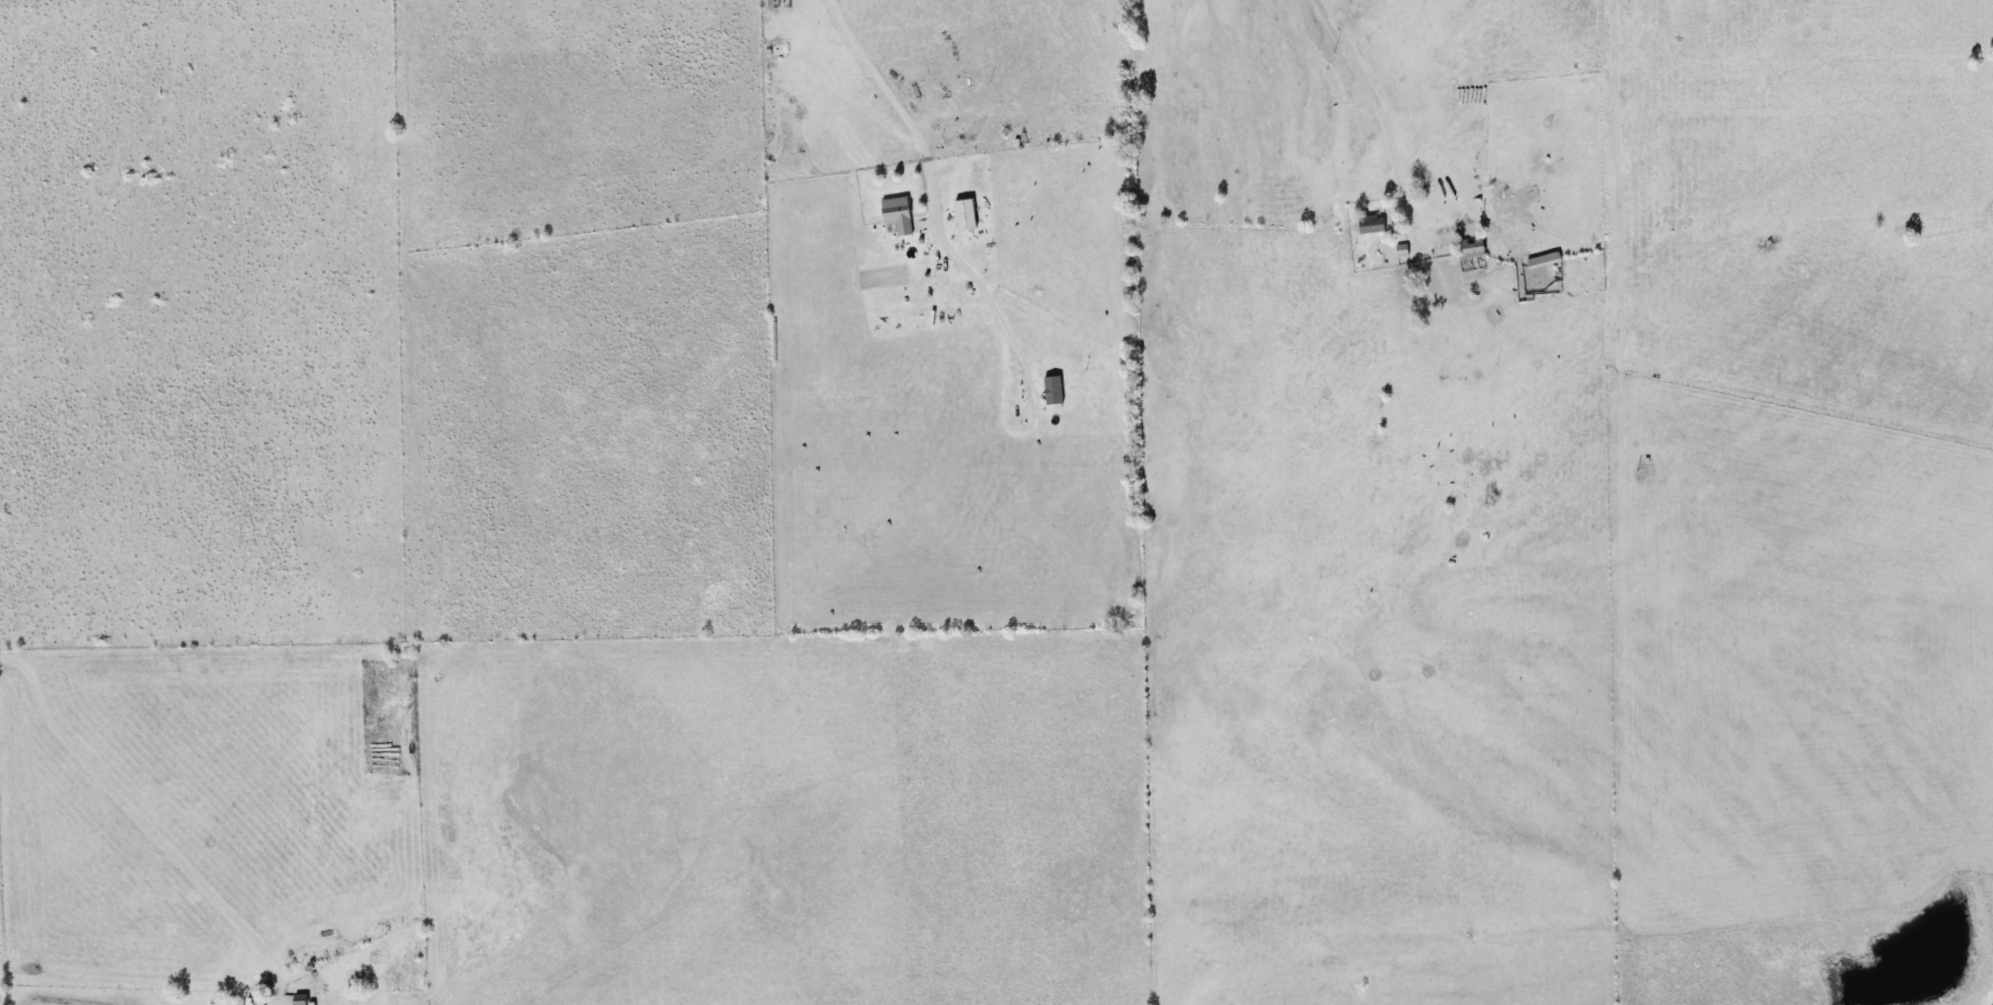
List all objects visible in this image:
road: (870, 76)
building: (900, 215)
building: (968, 215)
building: (1374, 224)
road: (1599, 258)
building: (1546, 261)
road: (132, 811)
road: (5, 843)
building: (301, 1000)

